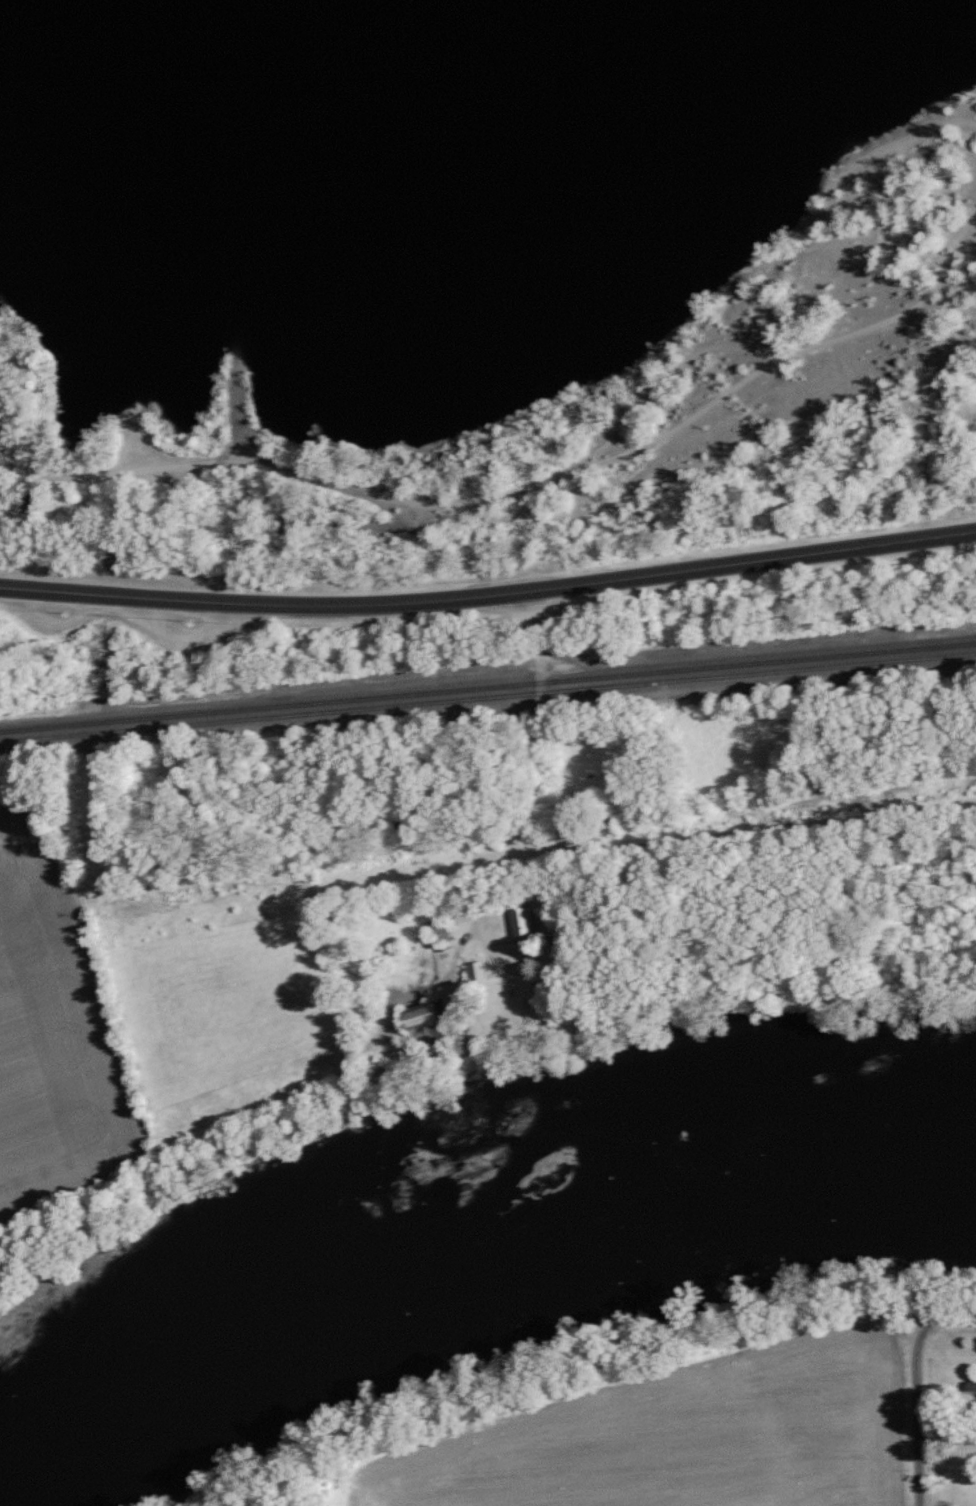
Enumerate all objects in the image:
road: (489, 598)
railway: (488, 686)
railway: (488, 697)
road: (760, 825)
road: (547, 868)
building: (525, 923)
building: (479, 972)
building: (458, 998)
building: (429, 1014)
river: (463, 1246)
road: (952, 1315)
building: (973, 1387)
road: (917, 1412)

